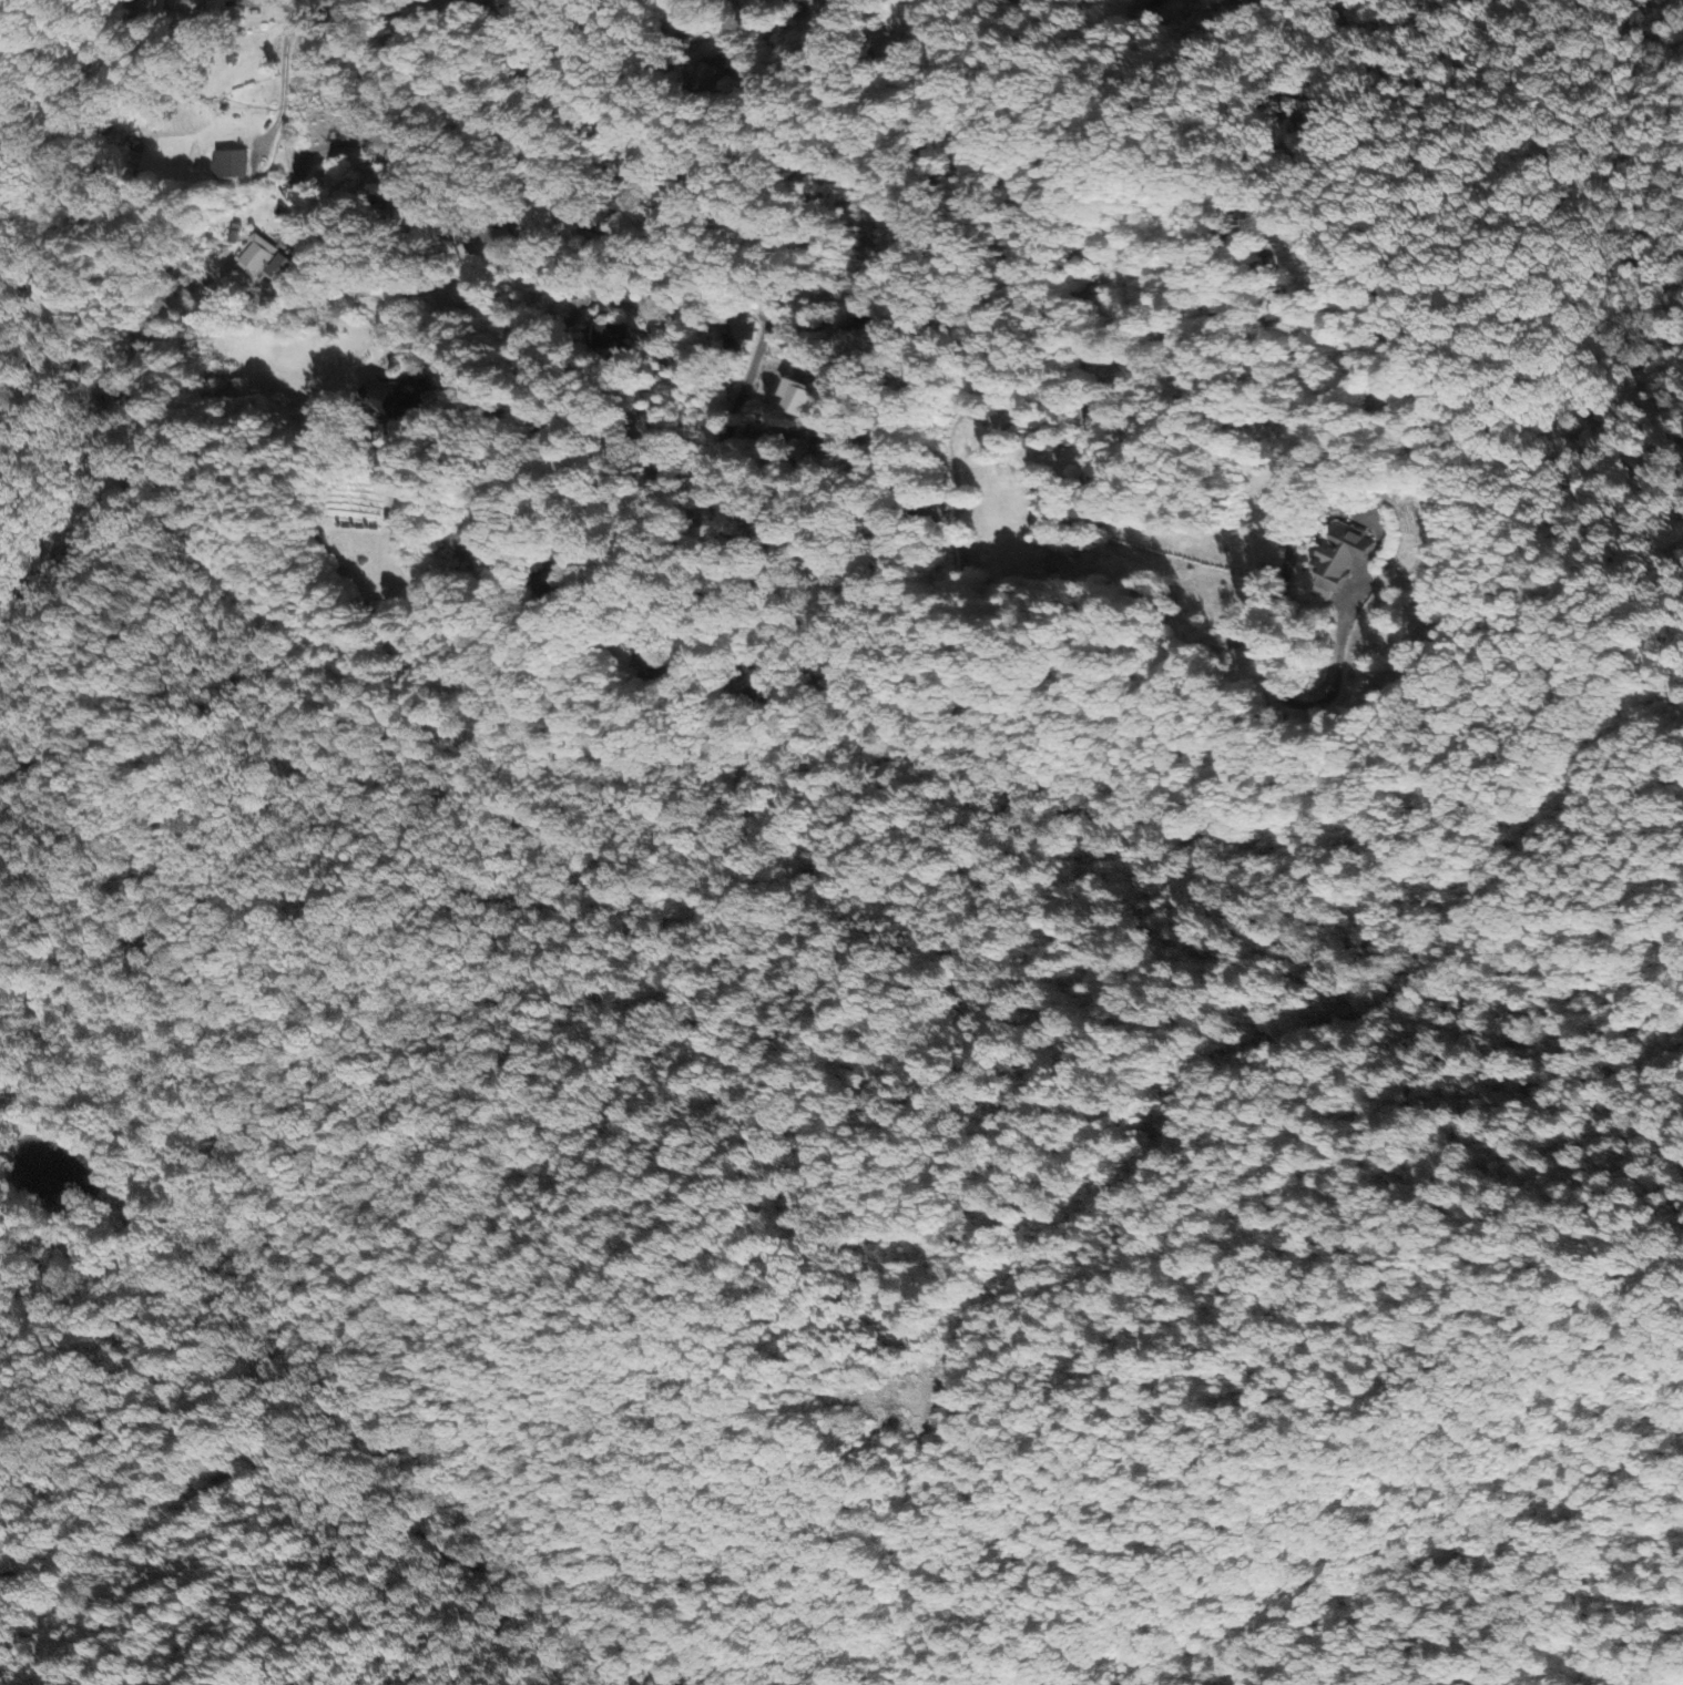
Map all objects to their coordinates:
building: (805, 1)
building: (186, 7)
road: (660, 22)
road: (486, 124)
road: (628, 134)
road: (365, 140)
building: (391, 162)
building: (231, 165)
building: (488, 247)
building: (256, 257)
building: (278, 270)
building: (826, 310)
road: (851, 314)
building: (743, 333)
road: (743, 381)
building: (797, 398)
road: (552, 432)
road: (839, 432)
building: (470, 537)
building: (1345, 555)
road: (711, 663)
road: (684, 1065)
road: (118, 1534)

